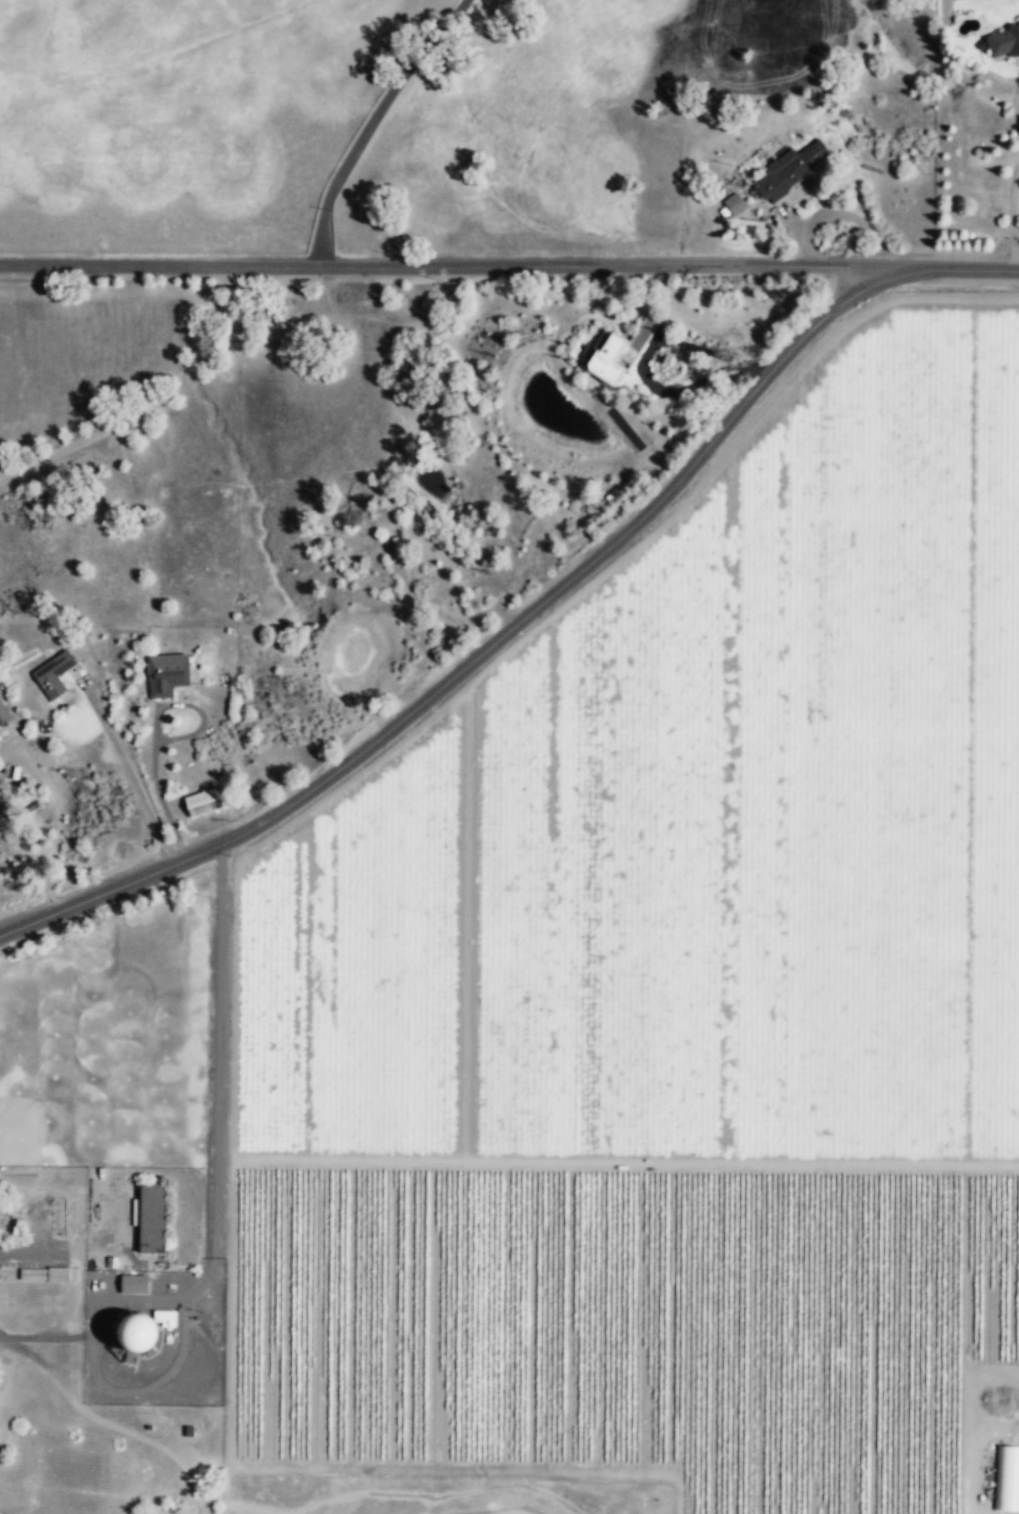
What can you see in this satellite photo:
building: (1003, 43)
road: (1017, 106)
road: (368, 123)
building: (789, 170)
building: (733, 205)
road: (1011, 217)
road: (455, 266)
road: (964, 270)
building: (607, 359)
road: (486, 645)
building: (167, 673)
building: (52, 674)
building: (3, 715)
road: (156, 732)
road: (124, 765)
building: (202, 802)
road: (55, 827)
park: (108, 1041)
building: (152, 1218)
road: (214, 1236)
building: (31, 1274)
building: (57, 1275)
building: (134, 1284)
building: (138, 1334)
road: (40, 1337)
building: (1006, 1479)

